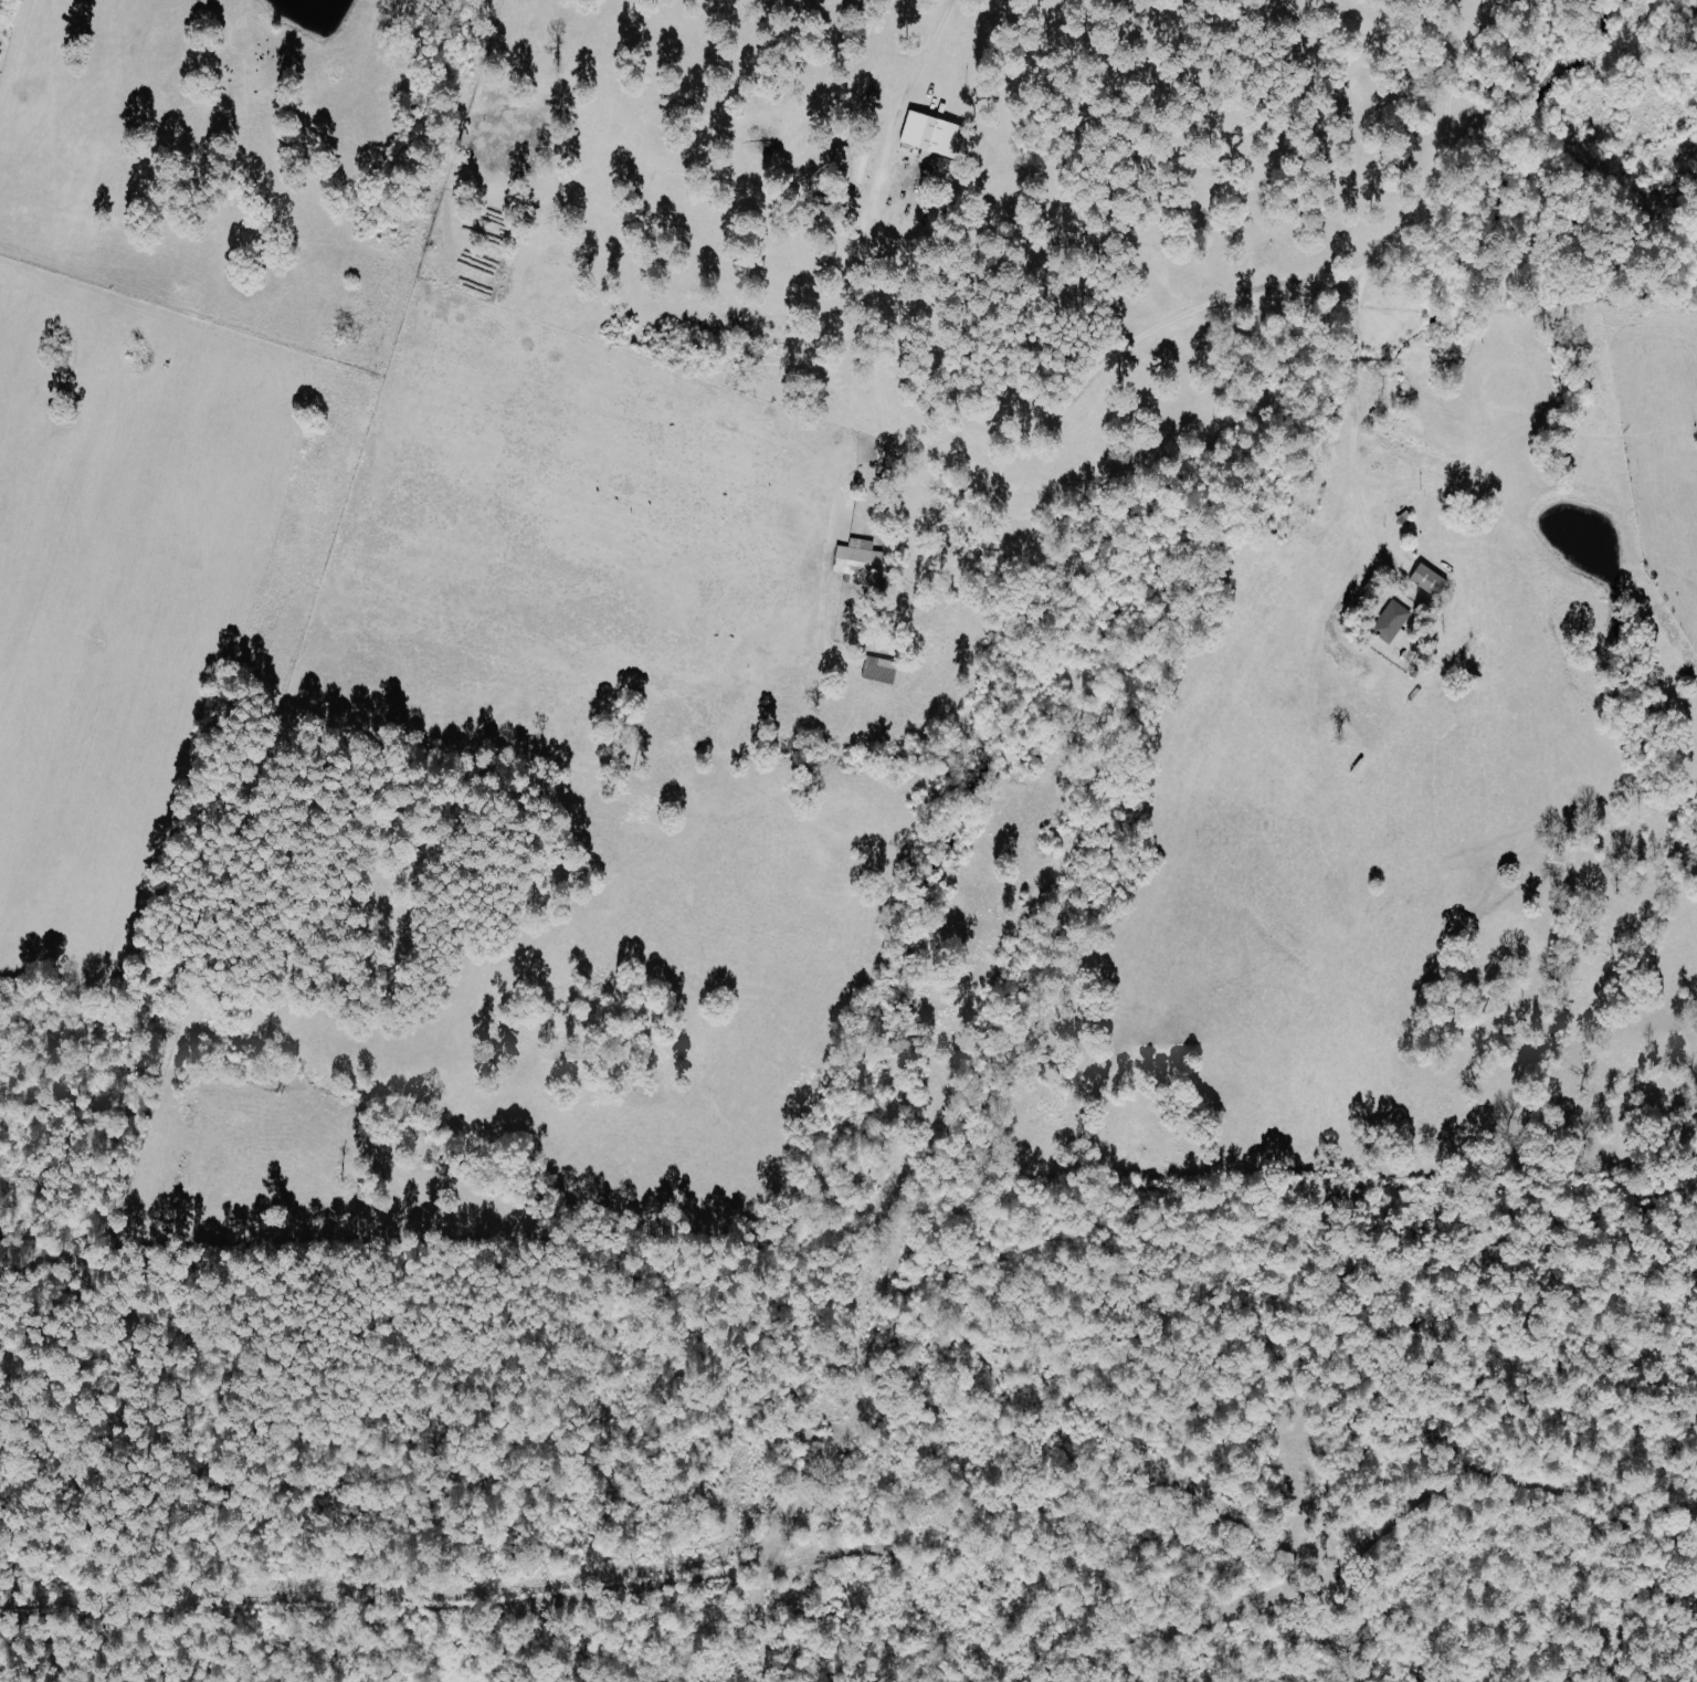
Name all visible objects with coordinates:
road: (906, 101)
building: (938, 144)
building: (853, 165)
road: (1160, 325)
road: (909, 461)
road: (1358, 477)
building: (862, 563)
building: (1431, 581)
building: (1394, 624)

